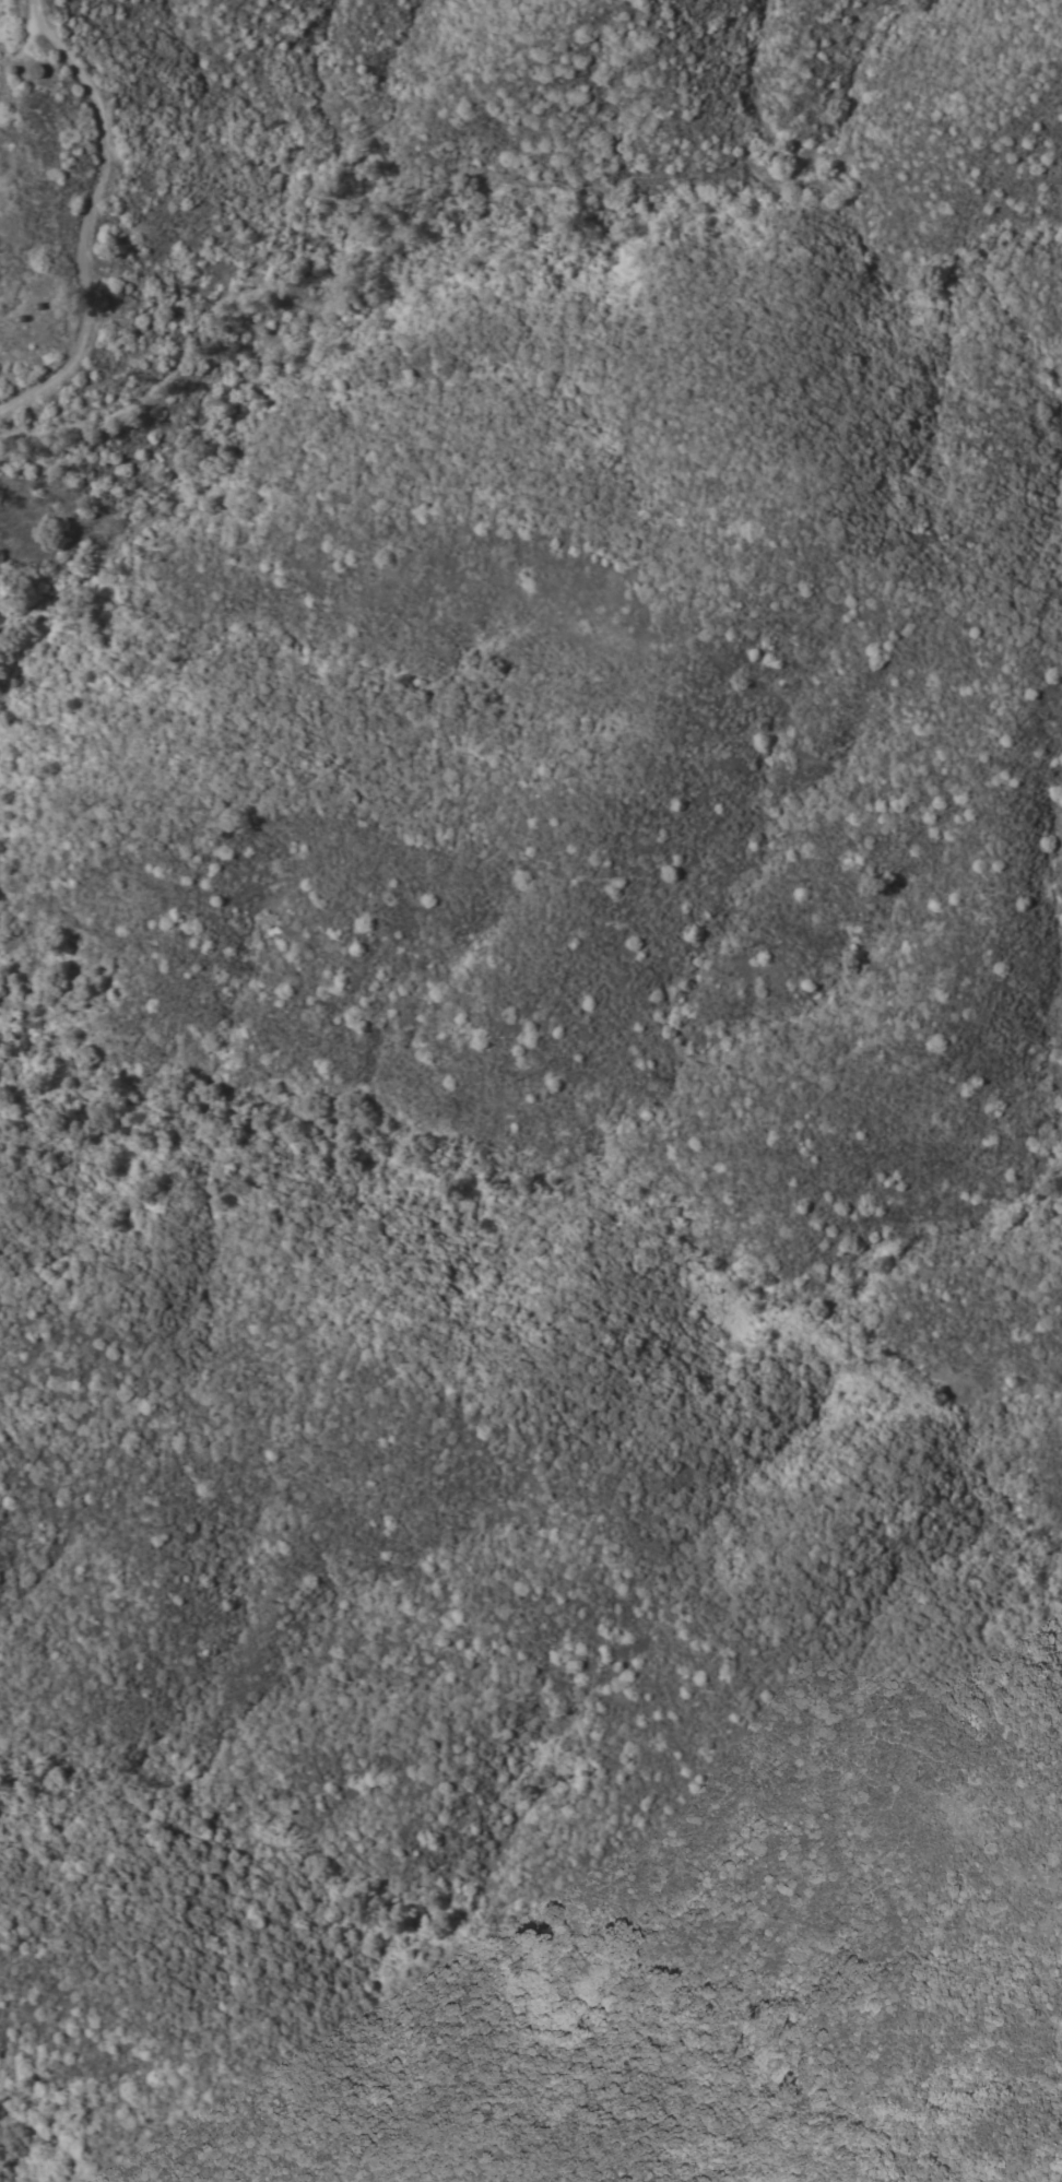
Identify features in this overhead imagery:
building: (39, 71)
road: (98, 217)
building: (0, 368)

